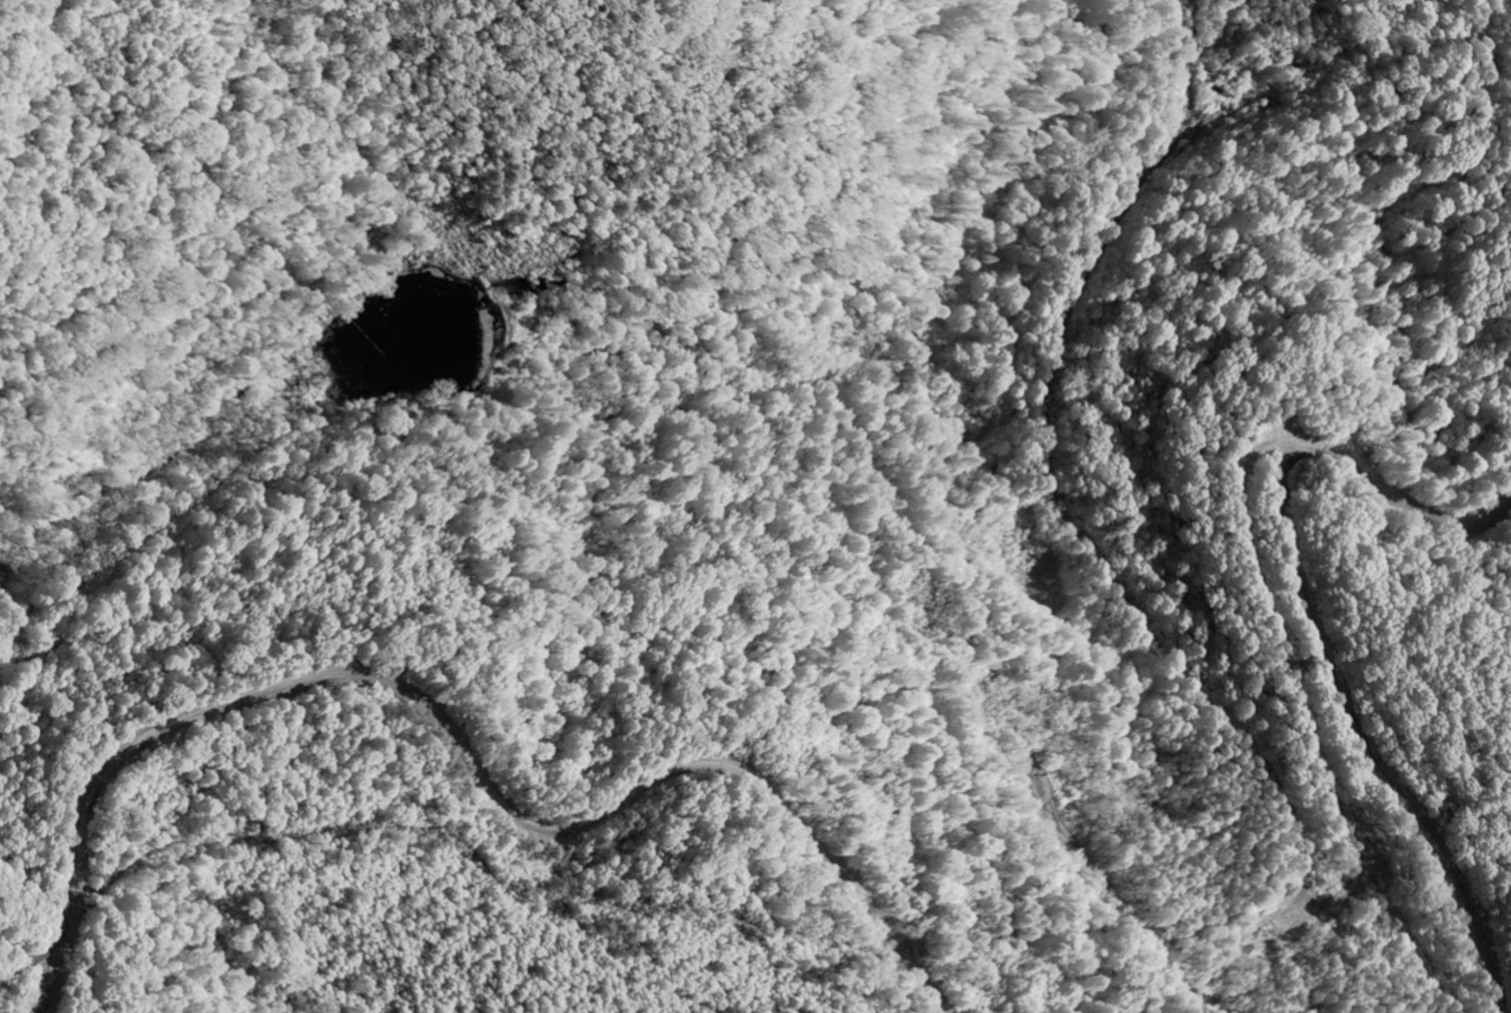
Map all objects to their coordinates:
road: (457, 747)

